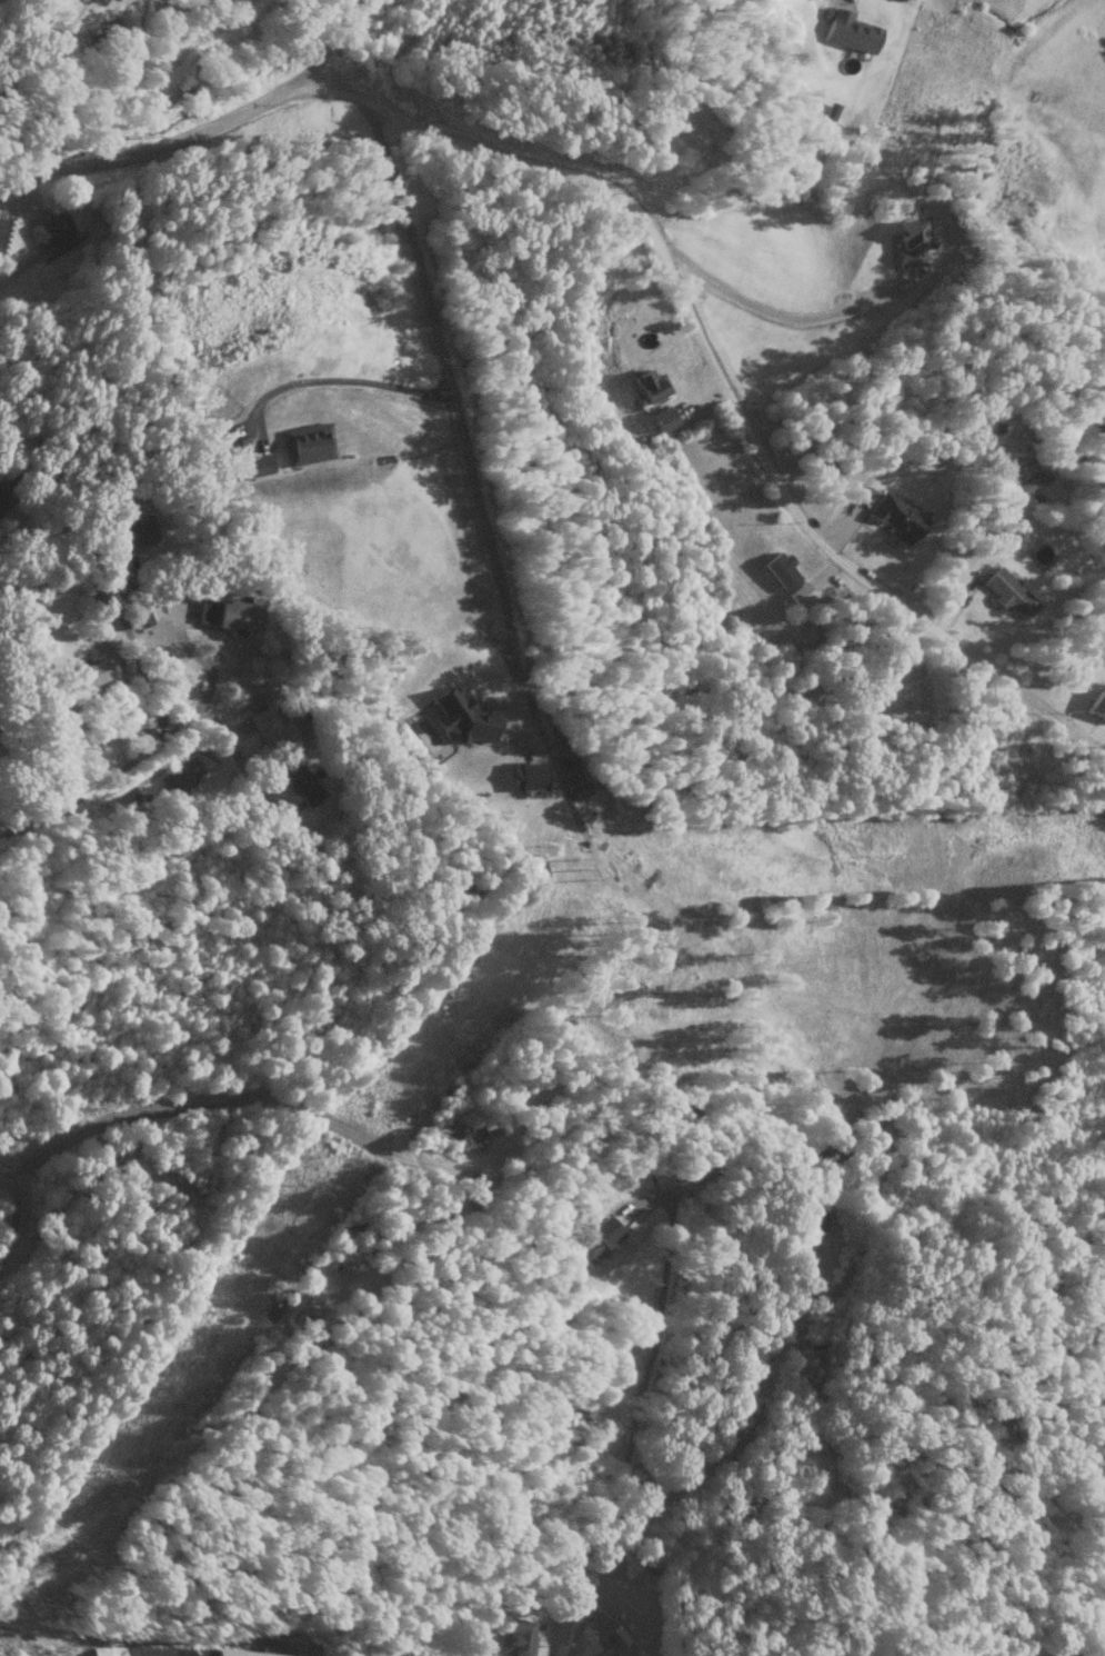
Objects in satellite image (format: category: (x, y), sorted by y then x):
road: (675, 2)
building: (846, 30)
road: (204, 136)
building: (50, 231)
building: (911, 241)
road: (767, 316)
road: (443, 345)
road: (722, 382)
building: (649, 385)
building: (662, 418)
building: (307, 442)
building: (1033, 480)
building: (893, 516)
building: (135, 532)
building: (780, 570)
building: (1007, 592)
building: (137, 613)
building: (227, 613)
building: (92, 628)
building: (90, 674)
building: (1096, 705)
building: (462, 717)
building: (271, 729)
road: (162, 735)
building: (1, 752)
building: (180, 774)
building: (525, 775)
road: (137, 779)
building: (302, 784)
building: (579, 789)
power tower: (591, 874)
power tower: (317, 1187)
building: (812, 1219)
building: (595, 1239)
power tower: (122, 1477)
building: (515, 1637)
building: (148, 1650)
building: (615, 1652)
building: (241, 1653)

